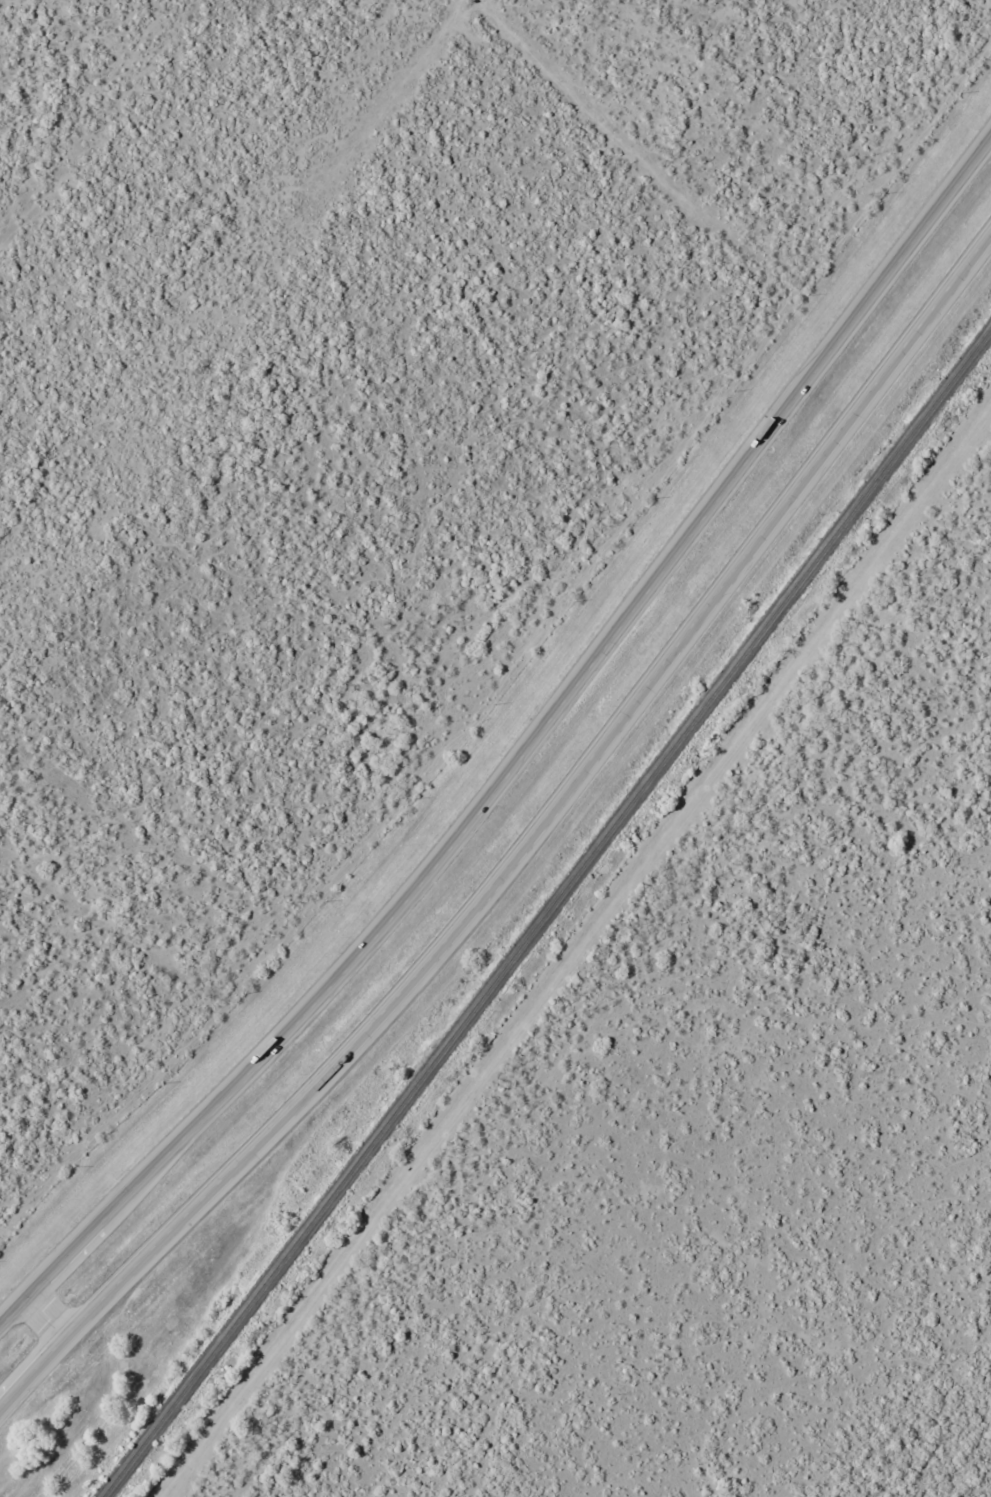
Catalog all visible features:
road: (519, 755)
road: (517, 858)
railway: (547, 912)
road: (53, 1320)

